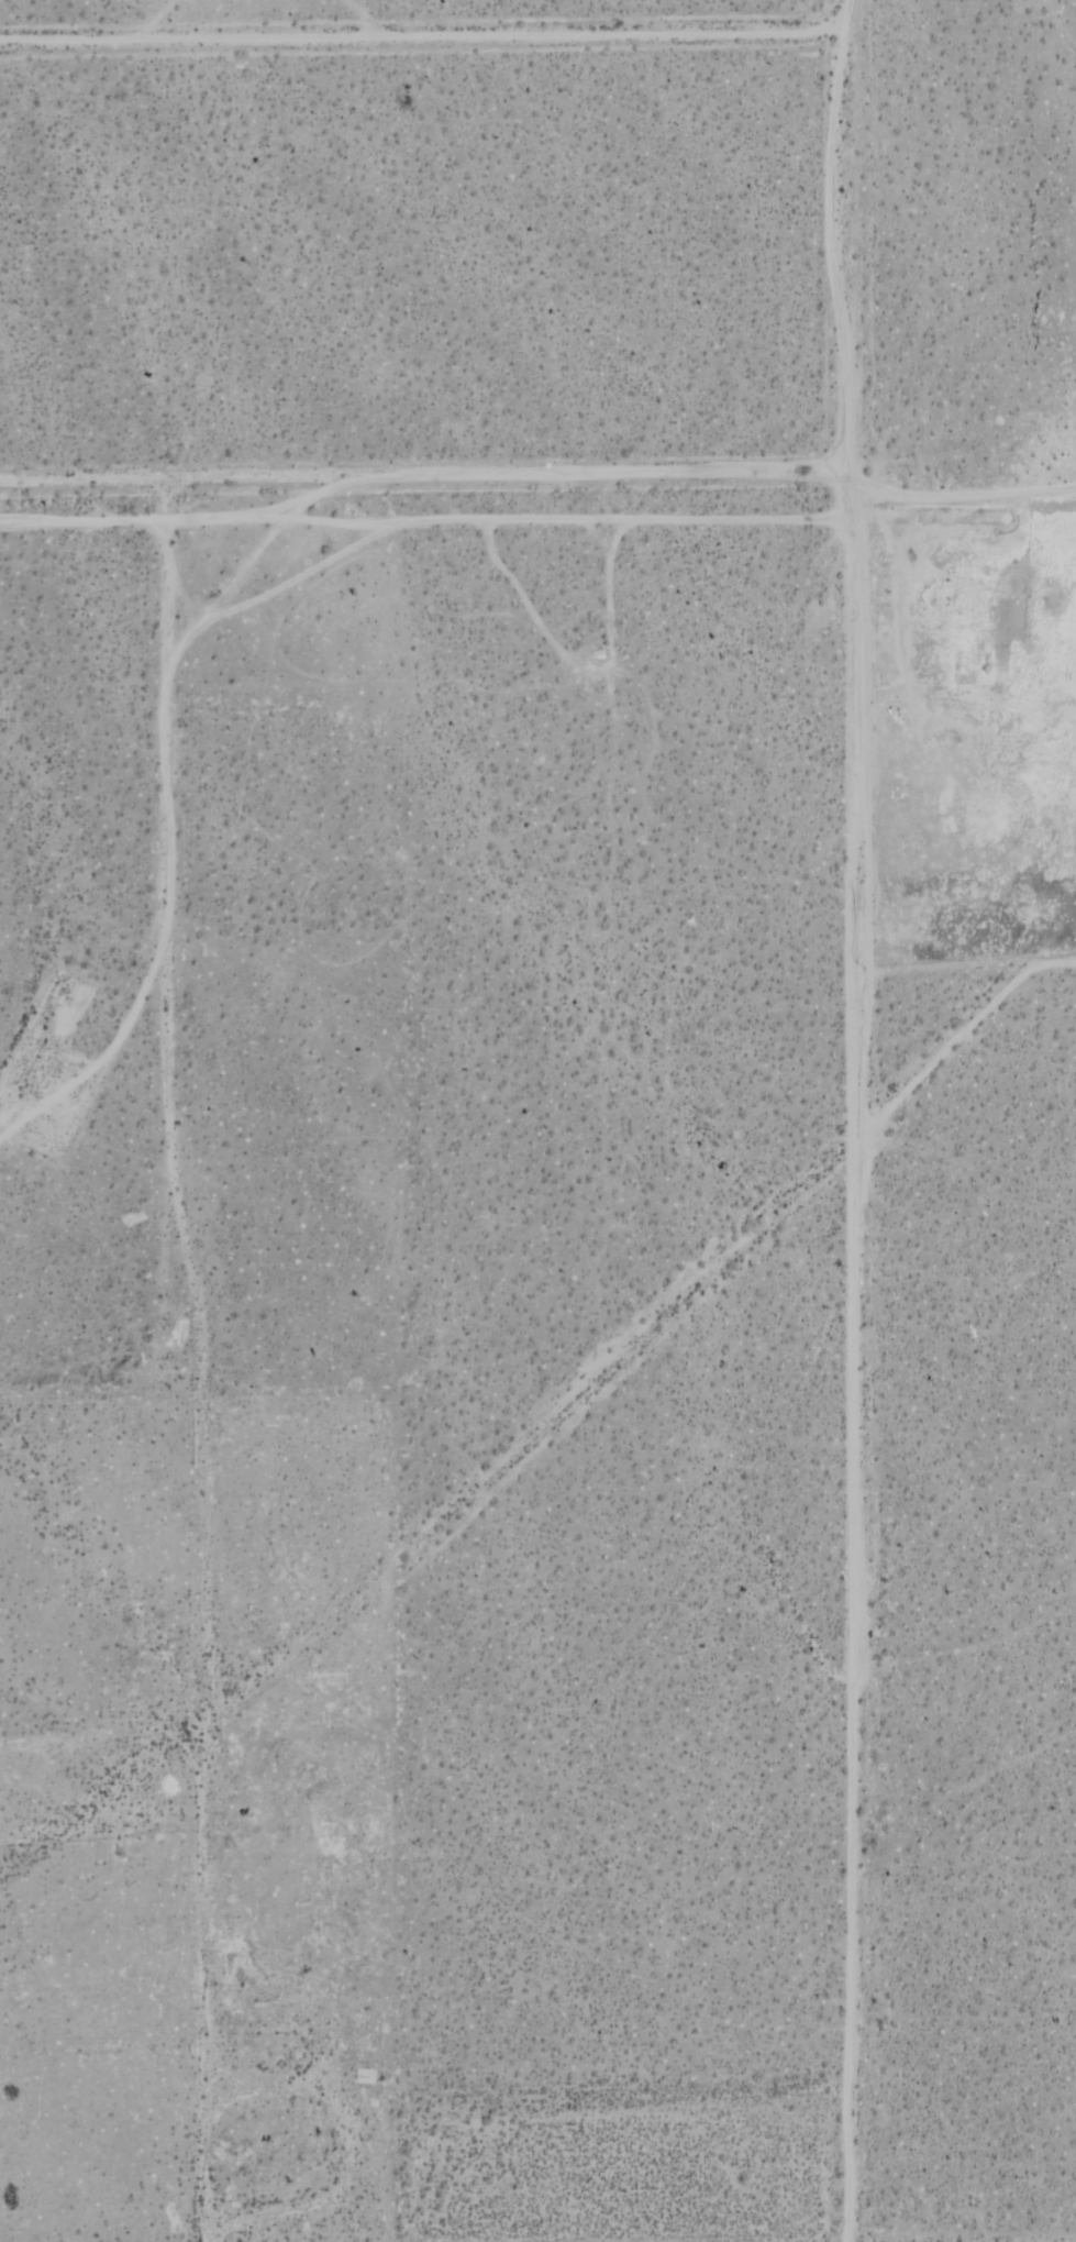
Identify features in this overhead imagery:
road: (425, 38)
road: (964, 494)
road: (429, 528)
road: (967, 1036)
road: (859, 1119)

